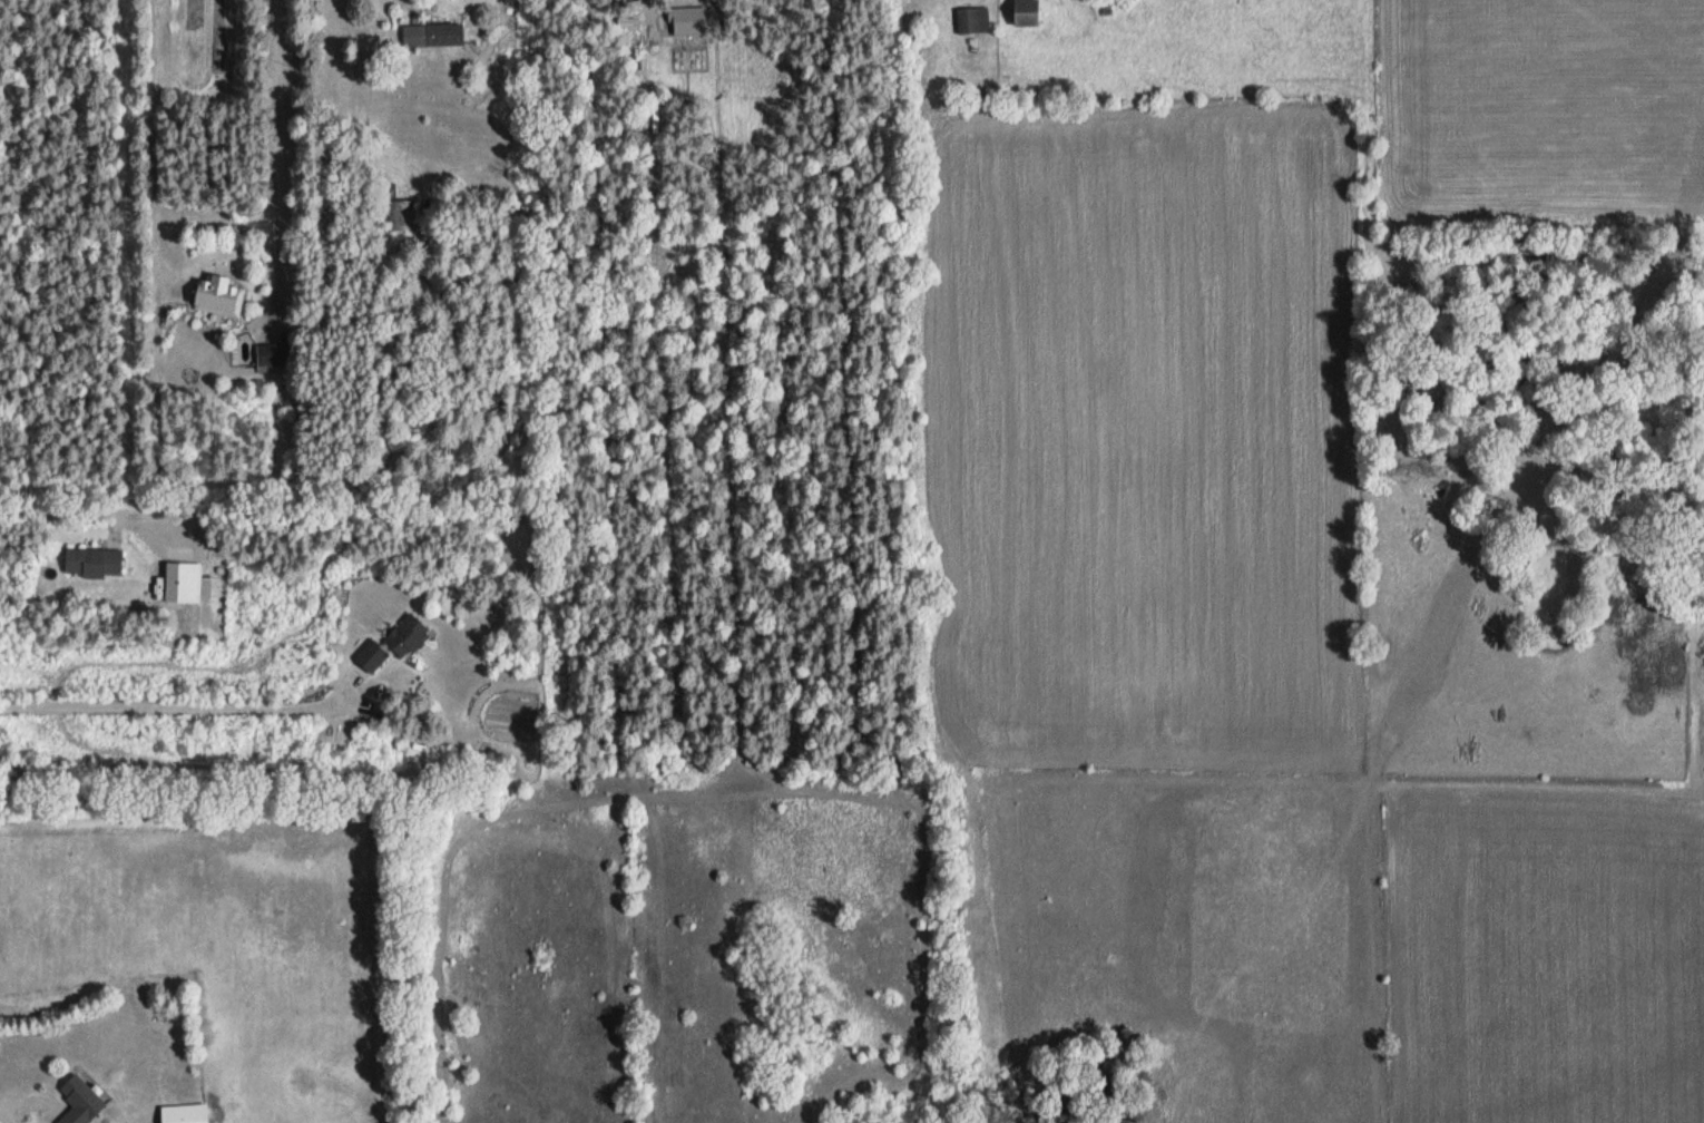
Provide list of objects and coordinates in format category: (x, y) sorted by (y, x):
building: (1026, 11)
building: (972, 19)
building: (432, 33)
road: (290, 152)
building: (401, 213)
building: (218, 294)
building: (272, 353)
road: (67, 512)
building: (94, 560)
building: (407, 634)
building: (371, 655)
road: (182, 705)
road: (23, 1101)
building: (79, 1102)
building: (185, 1113)

